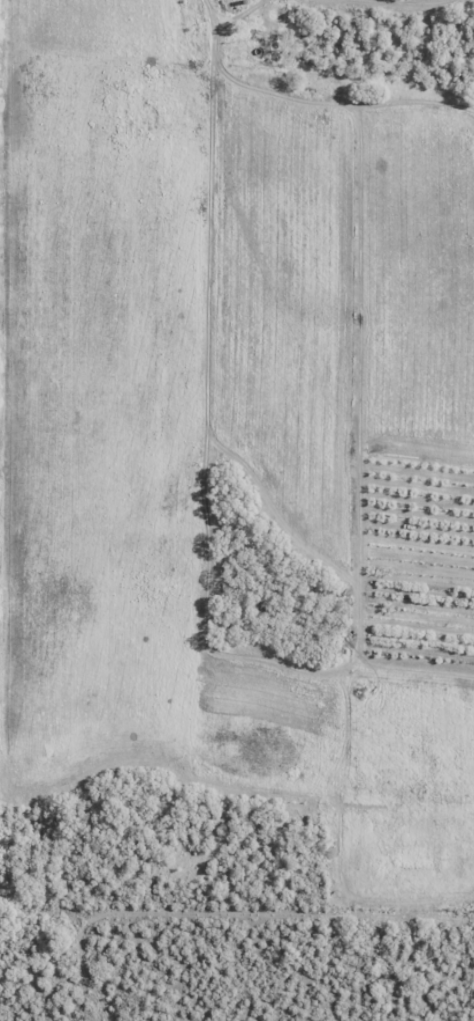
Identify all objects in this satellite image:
road: (404, 0)
road: (227, 23)

